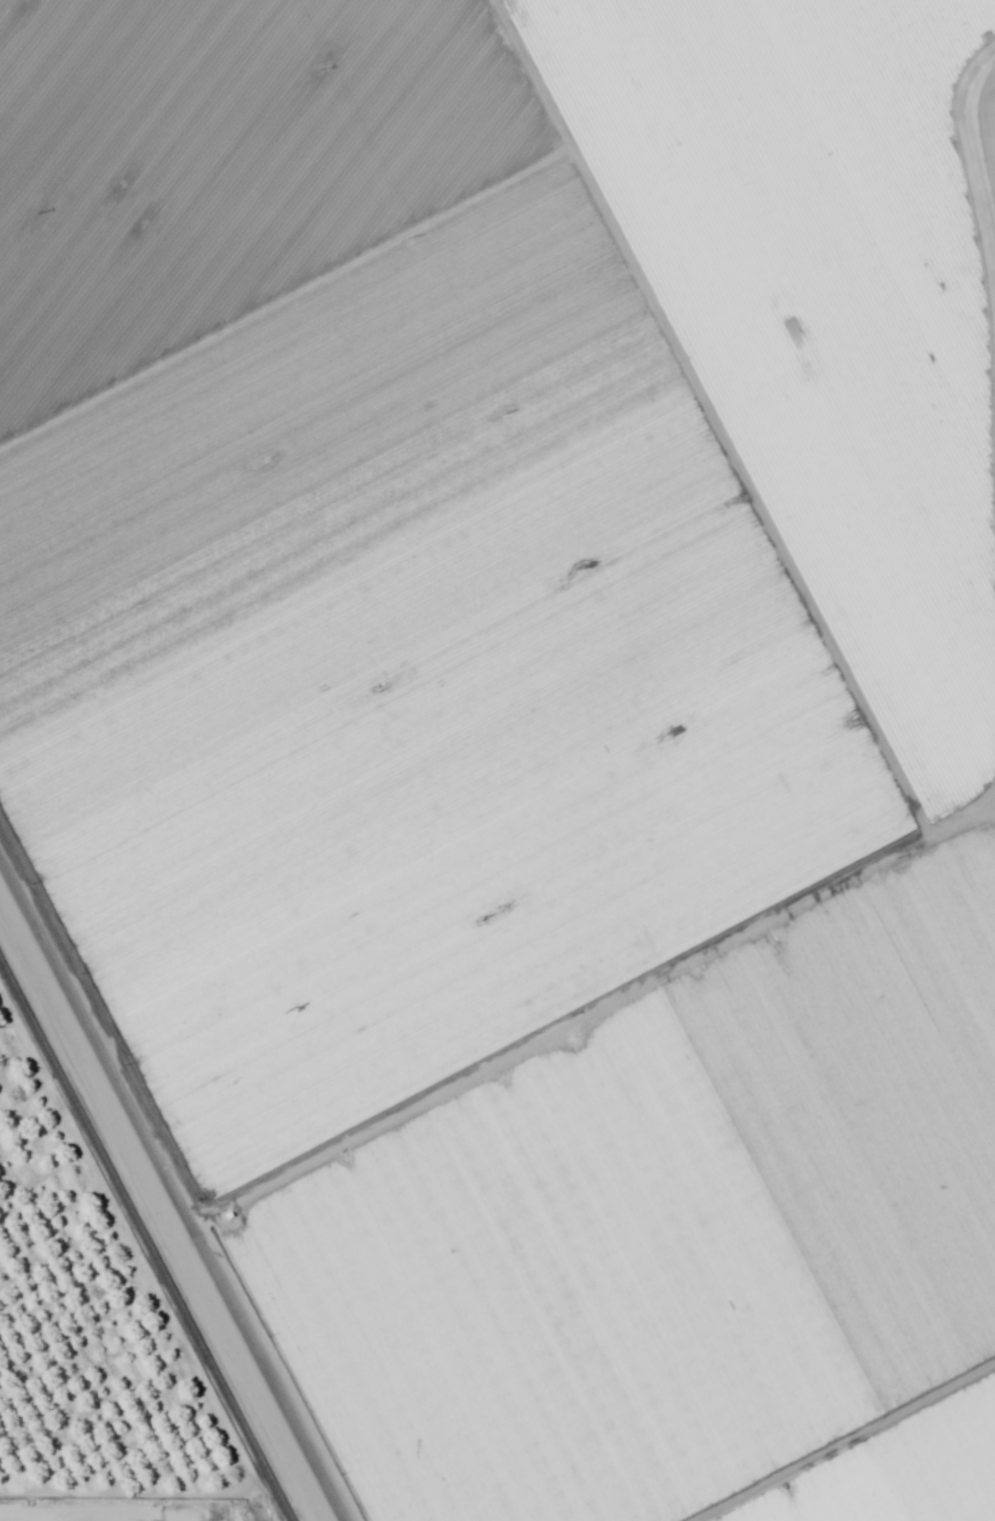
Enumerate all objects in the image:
road: (750, 438)
crop: (526, 720)
road: (584, 1031)
road: (175, 1179)
railway: (143, 1244)
road: (833, 1501)
road: (49, 1517)
road: (70, 1519)

